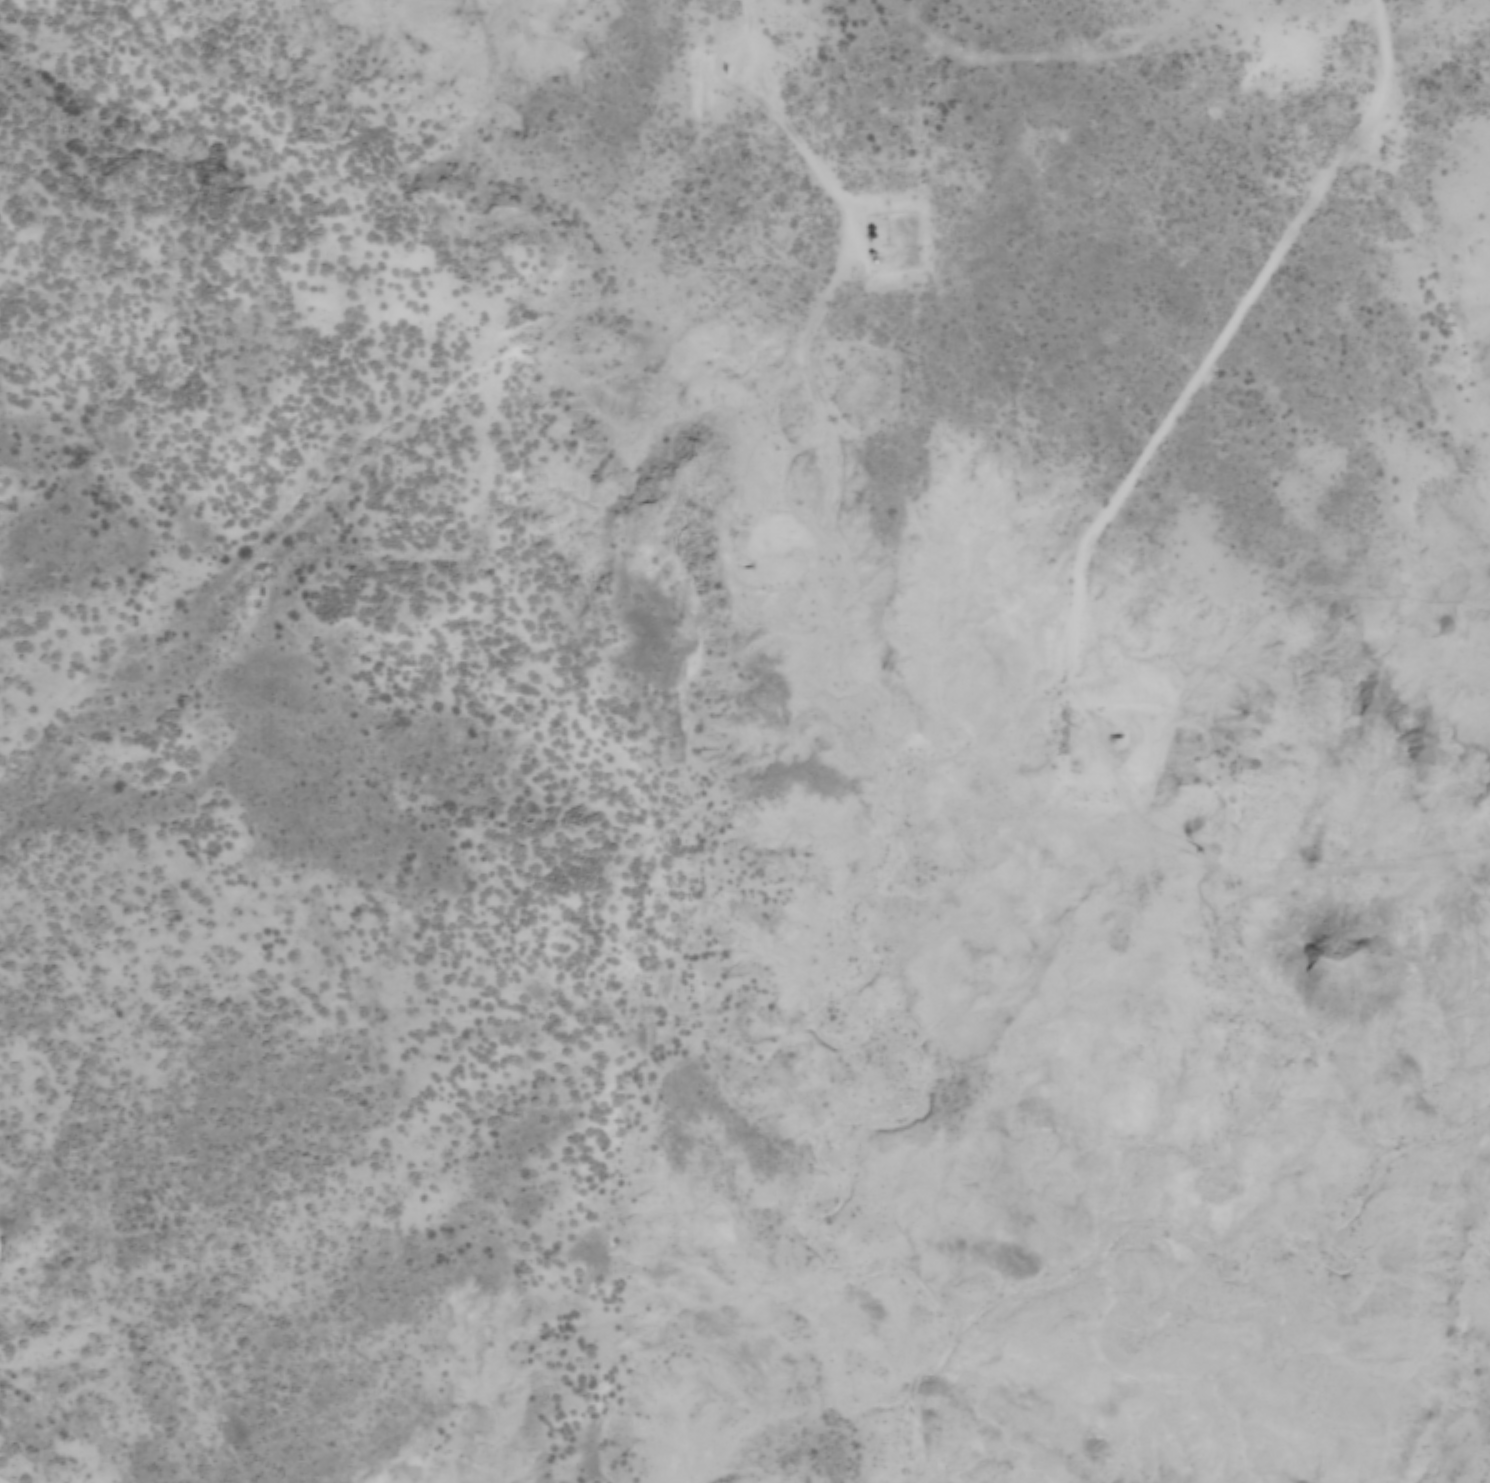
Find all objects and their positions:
road: (1385, 74)
road: (856, 171)

